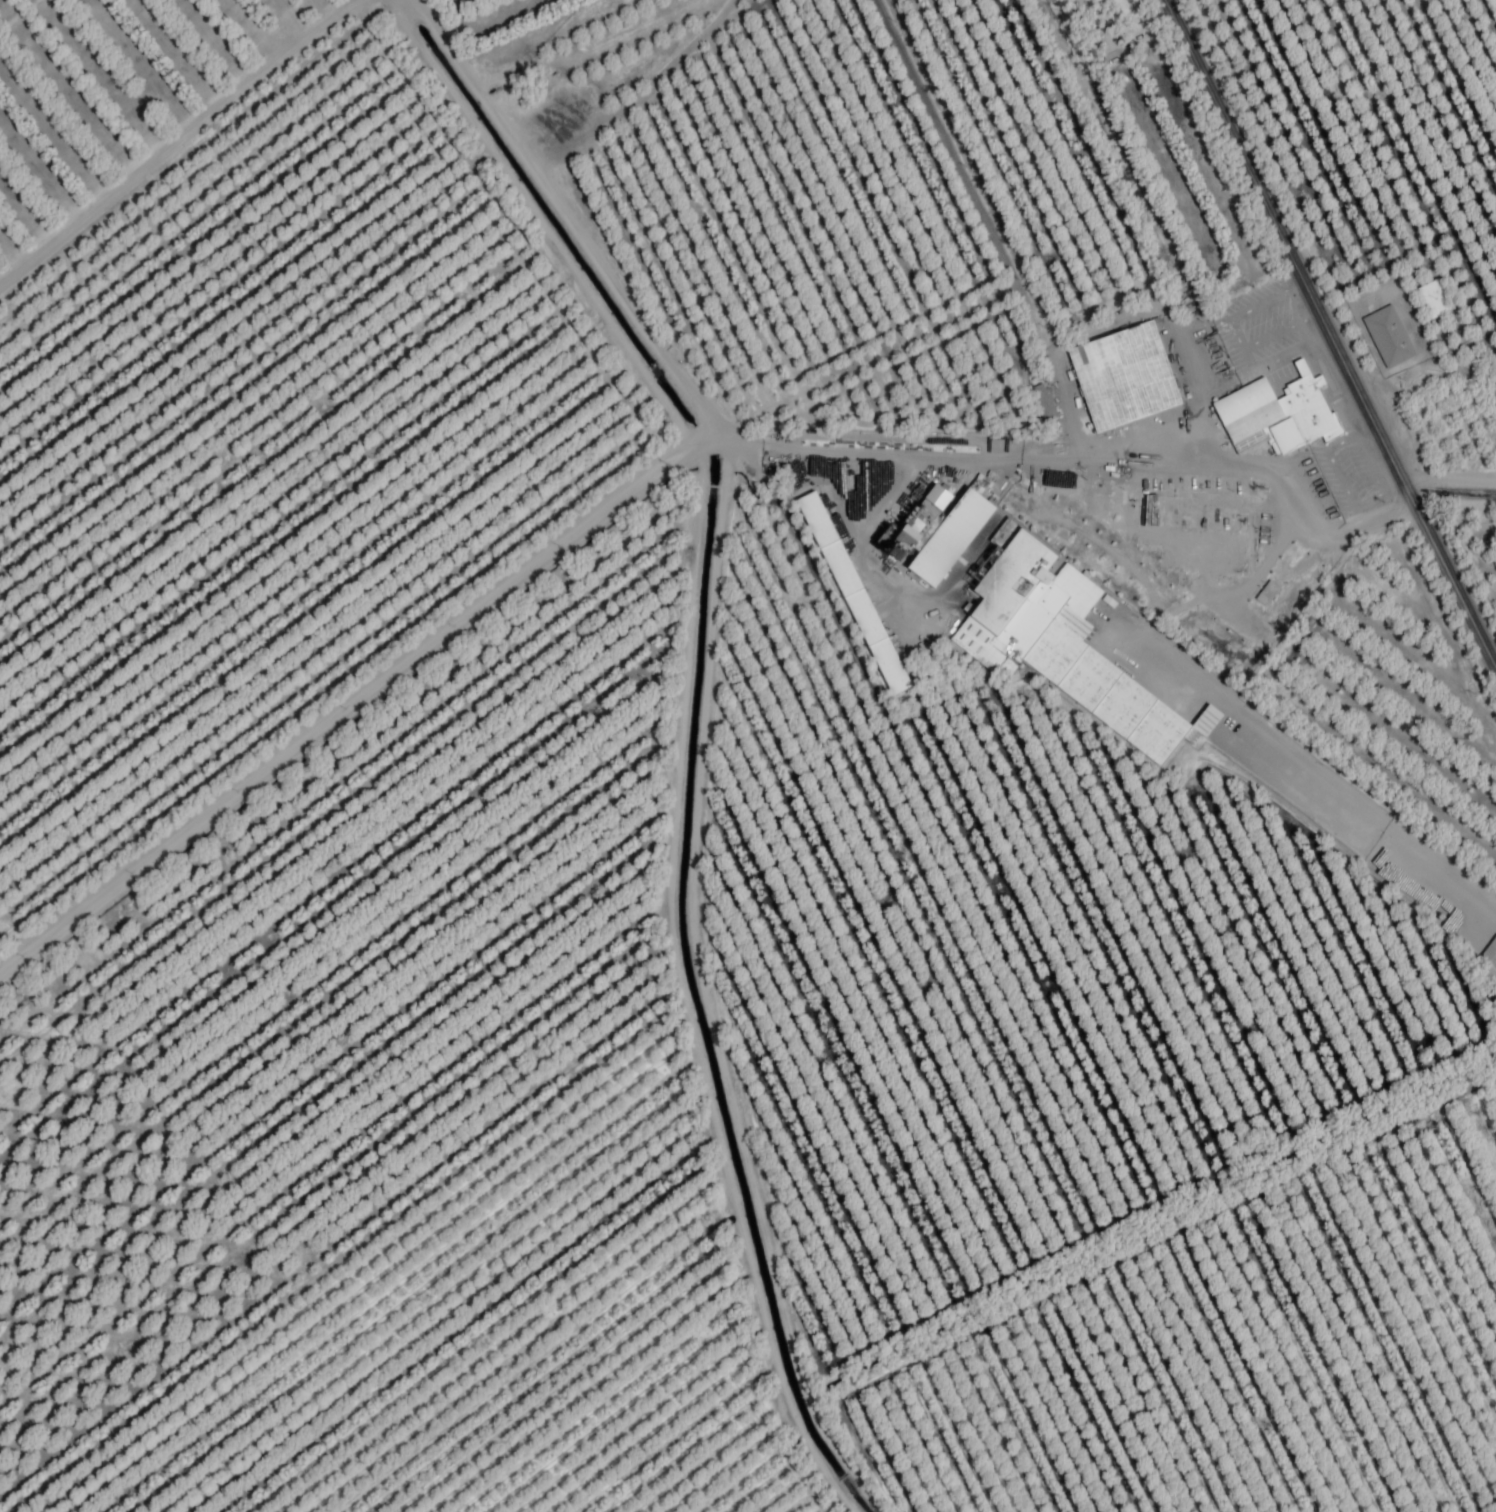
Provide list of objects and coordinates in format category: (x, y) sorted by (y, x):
building: (1084, 6)
building: (1105, 44)
road: (179, 141)
building: (1435, 300)
road: (1118, 314)
parking lot: (1266, 333)
road: (1328, 336)
building: (1388, 339)
building: (1123, 375)
building: (1279, 415)
road: (1448, 484)
road: (644, 488)
road: (1453, 505)
building: (842, 518)
building: (1188, 532)
building: (951, 537)
building: (853, 593)
building: (1059, 643)
road: (703, 727)
building: (1485, 967)

